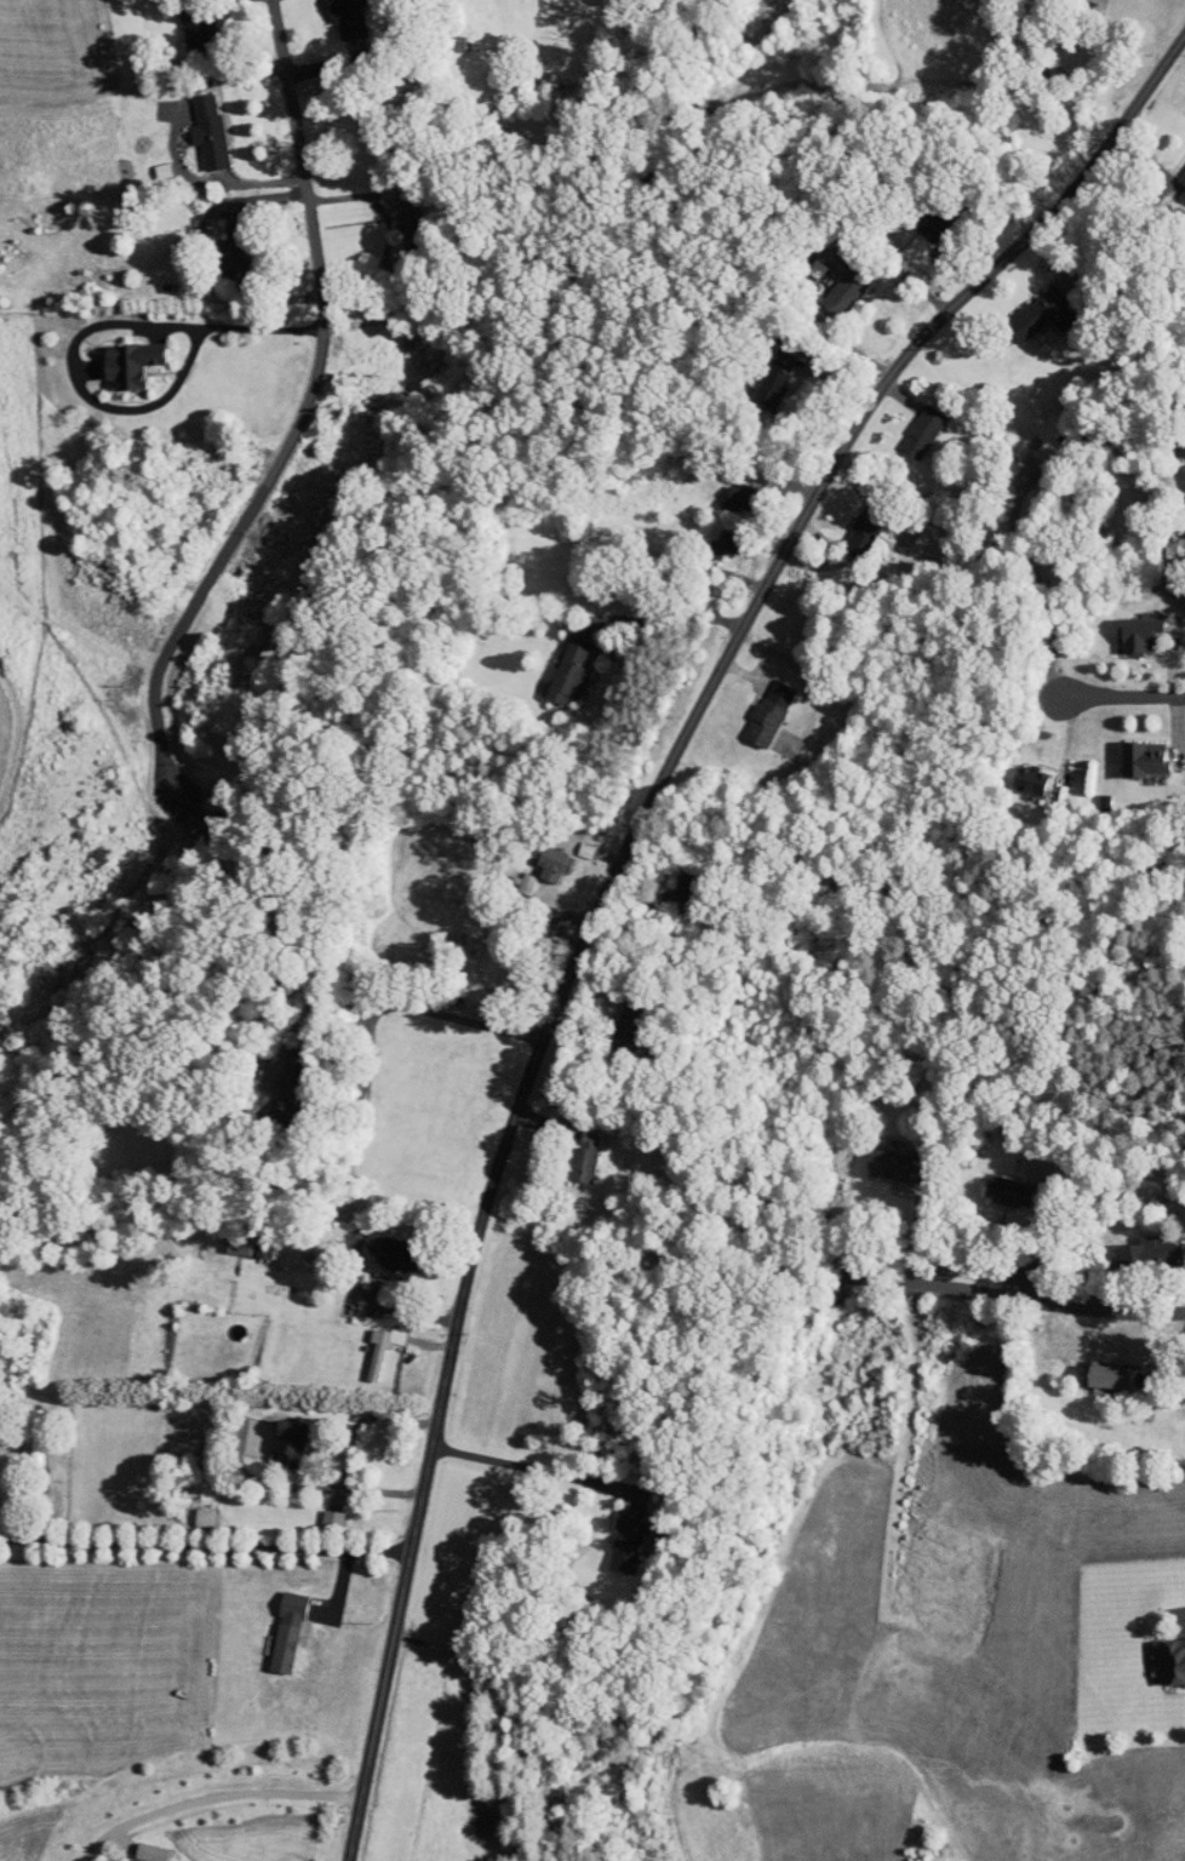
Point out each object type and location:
building: (176, 13)
building: (333, 15)
building: (194, 125)
building: (1177, 173)
building: (394, 213)
building: (214, 246)
building: (829, 285)
building: (1021, 305)
road: (85, 330)
building: (115, 356)
building: (760, 371)
road: (304, 394)
building: (909, 425)
building: (1177, 474)
building: (722, 491)
building: (846, 529)
building: (708, 537)
road: (792, 537)
road: (665, 618)
building: (1123, 626)
building: (555, 664)
road: (1116, 699)
building: (754, 708)
building: (1129, 751)
building: (1015, 773)
building: (571, 842)
building: (537, 854)
building: (511, 876)
road: (425, 1014)
building: (569, 1149)
building: (876, 1153)
building: (991, 1183)
building: (1133, 1241)
building: (371, 1250)
road: (997, 1295)
building: (367, 1340)
building: (1095, 1367)
road: (362, 1420)
building: (22, 1428)
building: (274, 1435)
road: (533, 1468)
road: (420, 1487)
road: (330, 1488)
building: (190, 1508)
building: (317, 1510)
building: (611, 1534)
road: (204, 1544)
building: (273, 1624)
building: (1161, 1651)
road: (517, 1712)
airport runway: (405, 1769)
road: (213, 1797)
building: (134, 1849)

